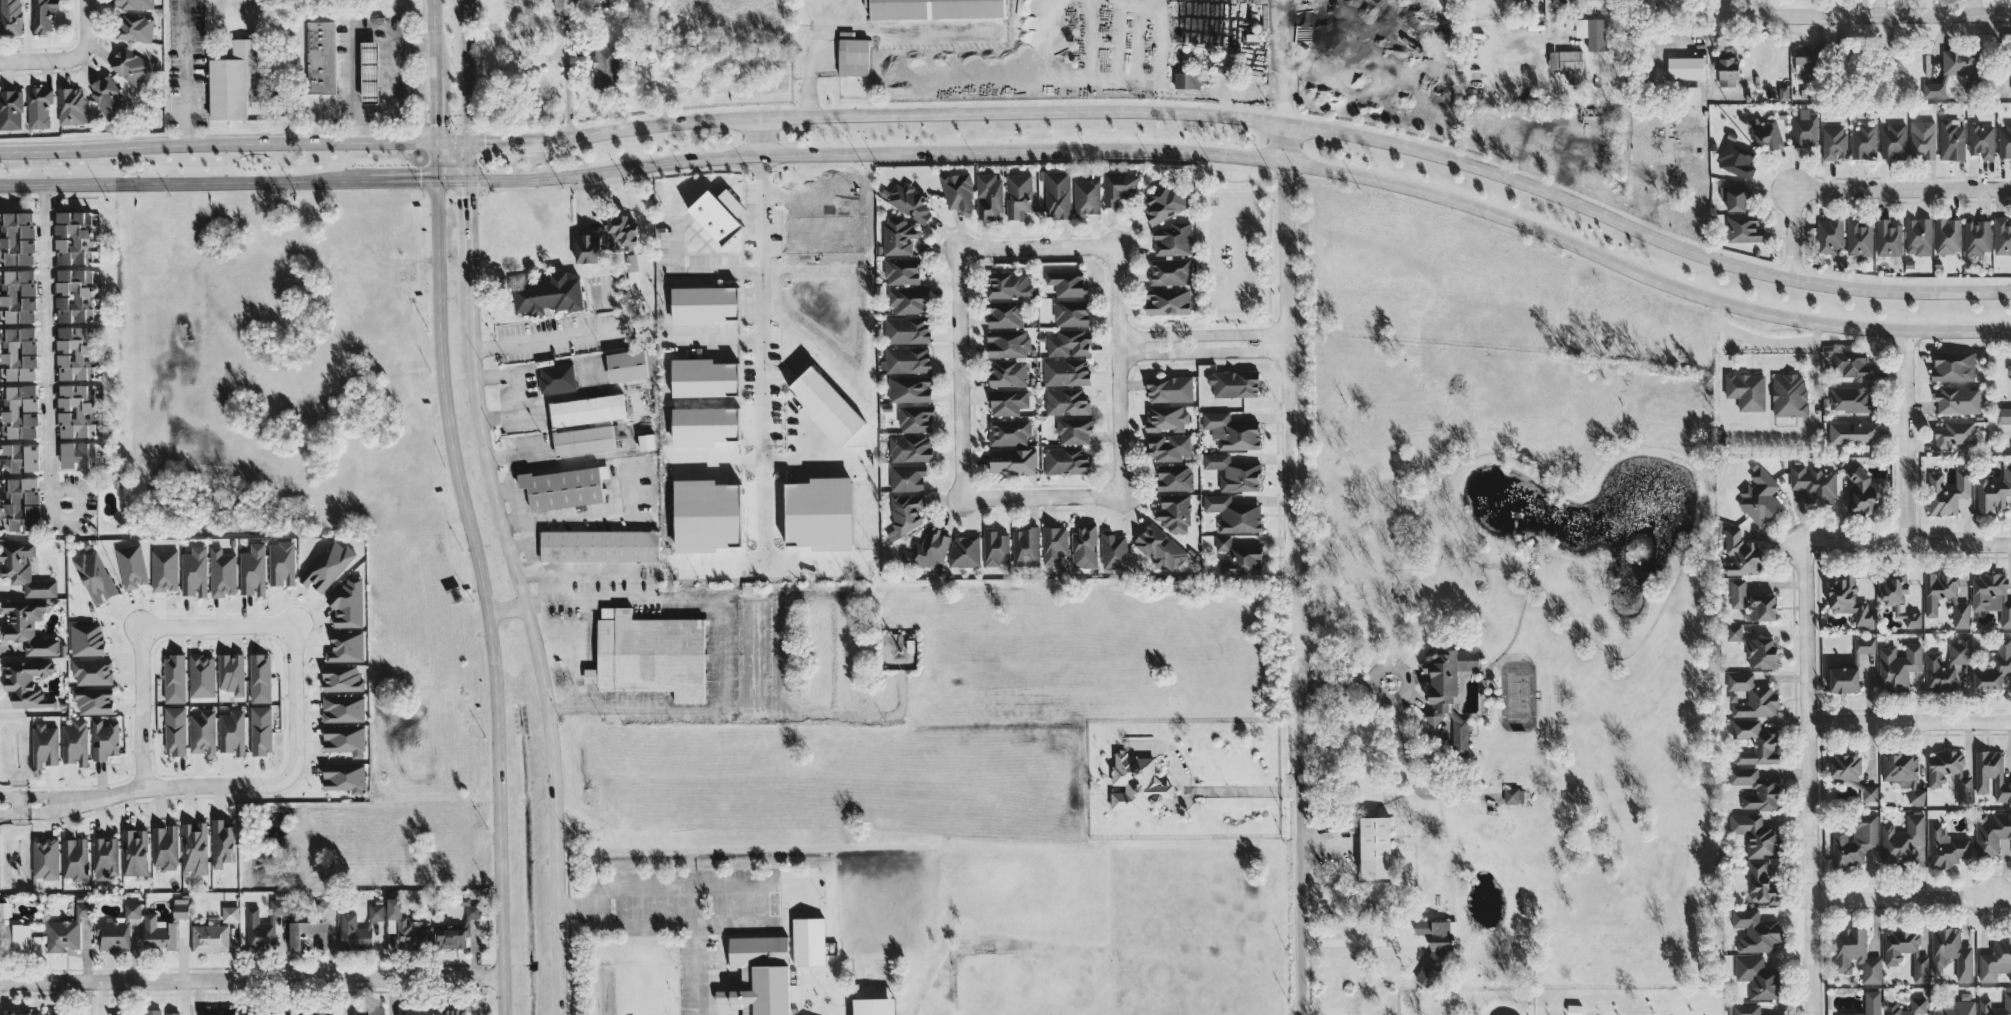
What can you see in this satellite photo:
building: (132, 4)
road: (1759, 7)
building: (934, 9)
building: (41, 14)
road: (1867, 14)
building: (9, 17)
road: (90, 23)
road: (1559, 27)
building: (133, 28)
building: (1591, 32)
road: (430, 37)
road: (354, 47)
building: (851, 54)
building: (2007, 55)
building: (319, 56)
building: (1804, 57)
building: (1958, 60)
road: (1283, 61)
road: (49, 62)
building: (1566, 62)
building: (129, 65)
building: (601, 65)
building: (1684, 66)
building: (1726, 66)
building: (366, 71)
road: (188, 72)
road: (566, 72)
road: (809, 76)
road: (402, 79)
building: (1185, 79)
building: (232, 80)
road: (465, 89)
building: (1933, 89)
building: (106, 95)
building: (69, 105)
building: (38, 106)
road: (432, 108)
building: (10, 109)
road: (1017, 112)
building: (1804, 129)
building: (1764, 132)
road: (760, 137)
building: (1950, 138)
building: (1922, 139)
building: (1863, 140)
building: (1892, 140)
building: (1980, 140)
building: (2004, 140)
building: (1833, 142)
road: (1251, 158)
building: (1736, 159)
road: (1274, 175)
road: (399, 179)
road: (450, 179)
road: (182, 182)
building: (1118, 187)
road: (1857, 189)
building: (956, 191)
building: (1056, 194)
building: (987, 195)
building: (1018, 195)
building: (1734, 196)
building: (1086, 197)
building: (907, 201)
building: (1164, 203)
building: (715, 214)
road: (467, 218)
building: (1743, 228)
building: (618, 232)
building: (1829, 234)
building: (1947, 235)
building: (897, 236)
building: (1859, 236)
building: (1918, 236)
building: (1976, 236)
building: (2001, 236)
building: (15, 237)
building: (70, 237)
building: (1887, 237)
building: (1172, 239)
building: (585, 247)
building: (630, 261)
road: (695, 267)
building: (901, 271)
building: (1168, 271)
building: (1067, 283)
building: (1008, 285)
road: (1118, 291)
building: (71, 294)
building: (546, 295)
building: (16, 296)
building: (908, 300)
building: (1166, 301)
building: (701, 304)
building: (1070, 312)
building: (1003, 314)
road: (1254, 319)
road: (1276, 324)
road: (1159, 326)
building: (906, 330)
road: (1203, 334)
road: (547, 338)
road: (717, 339)
building: (1006, 343)
building: (1068, 343)
road: (1287, 348)
road: (46, 349)
building: (69, 353)
road: (1203, 353)
building: (17, 354)
road: (762, 357)
building: (906, 359)
road: (1720, 360)
building: (625, 365)
building: (1853, 365)
building: (1952, 367)
building: (2010, 368)
building: (1065, 371)
building: (1006, 373)
building: (555, 377)
building: (701, 377)
building: (1232, 383)
building: (908, 388)
building: (1168, 388)
building: (1746, 390)
building: (1789, 394)
building: (1851, 398)
building: (1957, 399)
building: (1007, 401)
building: (1066, 401)
building: (824, 406)
building: (72, 410)
building: (585, 410)
building: (18, 412)
building: (2003, 414)
building: (1165, 417)
building: (914, 418)
building: (680, 427)
building: (1073, 430)
road: (2006, 430)
building: (1008, 431)
building: (1230, 431)
building: (1853, 432)
building: (1953, 433)
road: (1906, 437)
building: (582, 440)
building: (645, 442)
building: (1167, 446)
building: (909, 448)
road: (960, 453)
building: (76, 455)
building: (19, 457)
building: (1012, 461)
building: (1066, 461)
road: (812, 465)
building: (1232, 472)
building: (907, 477)
building: (1174, 477)
building: (1813, 483)
building: (565, 487)
building: (1861, 491)
building: (1993, 491)
building: (1947, 492)
building: (1759, 496)
building: (22, 504)
building: (1174, 512)
building: (820, 513)
building: (907, 513)
building: (1234, 513)
building: (1054, 544)
road: (1908, 544)
building: (600, 545)
building: (1026, 546)
building: (1085, 546)
building: (1159, 547)
building: (996, 548)
building: (928, 549)
building: (1114, 550)
building: (965, 551)
building: (1740, 553)
building: (1238, 557)
building: (282, 563)
building: (328, 565)
building: (132, 566)
building: (24, 569)
building: (164, 569)
building: (253, 570)
building: (194, 571)
building: (222, 573)
building: (94, 576)
road: (476, 577)
building: (1739, 592)
building: (1992, 595)
building: (1898, 598)
building: (1848, 599)
building: (1931, 599)
building: (348, 604)
building: (1763, 607)
road: (503, 608)
road: (216, 626)
building: (28, 627)
road: (1294, 628)
building: (1734, 632)
road: (529, 634)
building: (87, 639)
road: (720, 643)
building: (346, 646)
building: (1761, 652)
building: (650, 654)
building: (1898, 666)
building: (1995, 666)
building: (1948, 667)
building: (92, 671)
building: (232, 673)
building: (202, 675)
building: (174, 678)
building: (260, 678)
building: (342, 678)
building: (1844, 679)
building: (27, 682)
road: (1345, 682)
building: (1448, 694)
building: (1752, 695)
building: (94, 700)
road: (139, 707)
building: (343, 708)
road: (1910, 722)
building: (175, 730)
building: (261, 730)
building: (203, 732)
building: (232, 732)
building: (105, 739)
building: (345, 739)
building: (1755, 741)
building: (75, 742)
building: (45, 745)
road: (1410, 762)
building: (1845, 767)
building: (1903, 772)
building: (1992, 774)
building: (344, 777)
road: (1810, 780)
building: (1936, 781)
building: (1138, 782)
road: (251, 783)
road: (1247, 788)
building: (1756, 788)
building: (1870, 793)
building: (1513, 795)
road: (14, 796)
road: (16, 803)
road: (62, 803)
road: (14, 811)
building: (1991, 832)
building: (1756, 835)
building: (1855, 840)
building: (1903, 841)
building: (222, 843)
building: (165, 846)
building: (195, 847)
building: (1375, 847)
road: (1299, 848)
building: (1947, 848)
building: (135, 852)
building: (106, 857)
building: (45, 858)
building: (75, 858)
building: (1761, 884)
road: (691, 889)
road: (1904, 899)
road: (2003, 899)
building: (325, 907)
building: (181, 908)
building: (230, 913)
building: (264, 923)
road: (660, 924)
building: (405, 925)
building: (458, 928)
building: (117, 929)
building: (359, 929)
building: (67, 930)
building: (12, 931)
building: (1756, 931)
building: (159, 932)
building: (308, 934)
building: (210, 937)
building: (809, 941)
road: (1345, 945)
building: (1434, 949)
building: (1951, 952)
building: (1855, 954)
building: (1892, 960)
building: (1996, 960)
road: (694, 969)
building: (759, 975)
building: (1758, 976)
road: (249, 978)
building: (1984, 1002)
building: (1870, 1003)
building: (1918, 1005)
building: (874, 1006)
building: (1958, 1006)
building: (1746, 1009)
building: (415, 1010)
building: (153, 1011)
building: (319, 1011)
building: (369, 1011)
building: (453, 1011)
building: (219, 1012)
building: (259, 1012)
building: (23, 1013)
building: (64, 1013)
building: (173, 1013)
building: (124, 1014)

